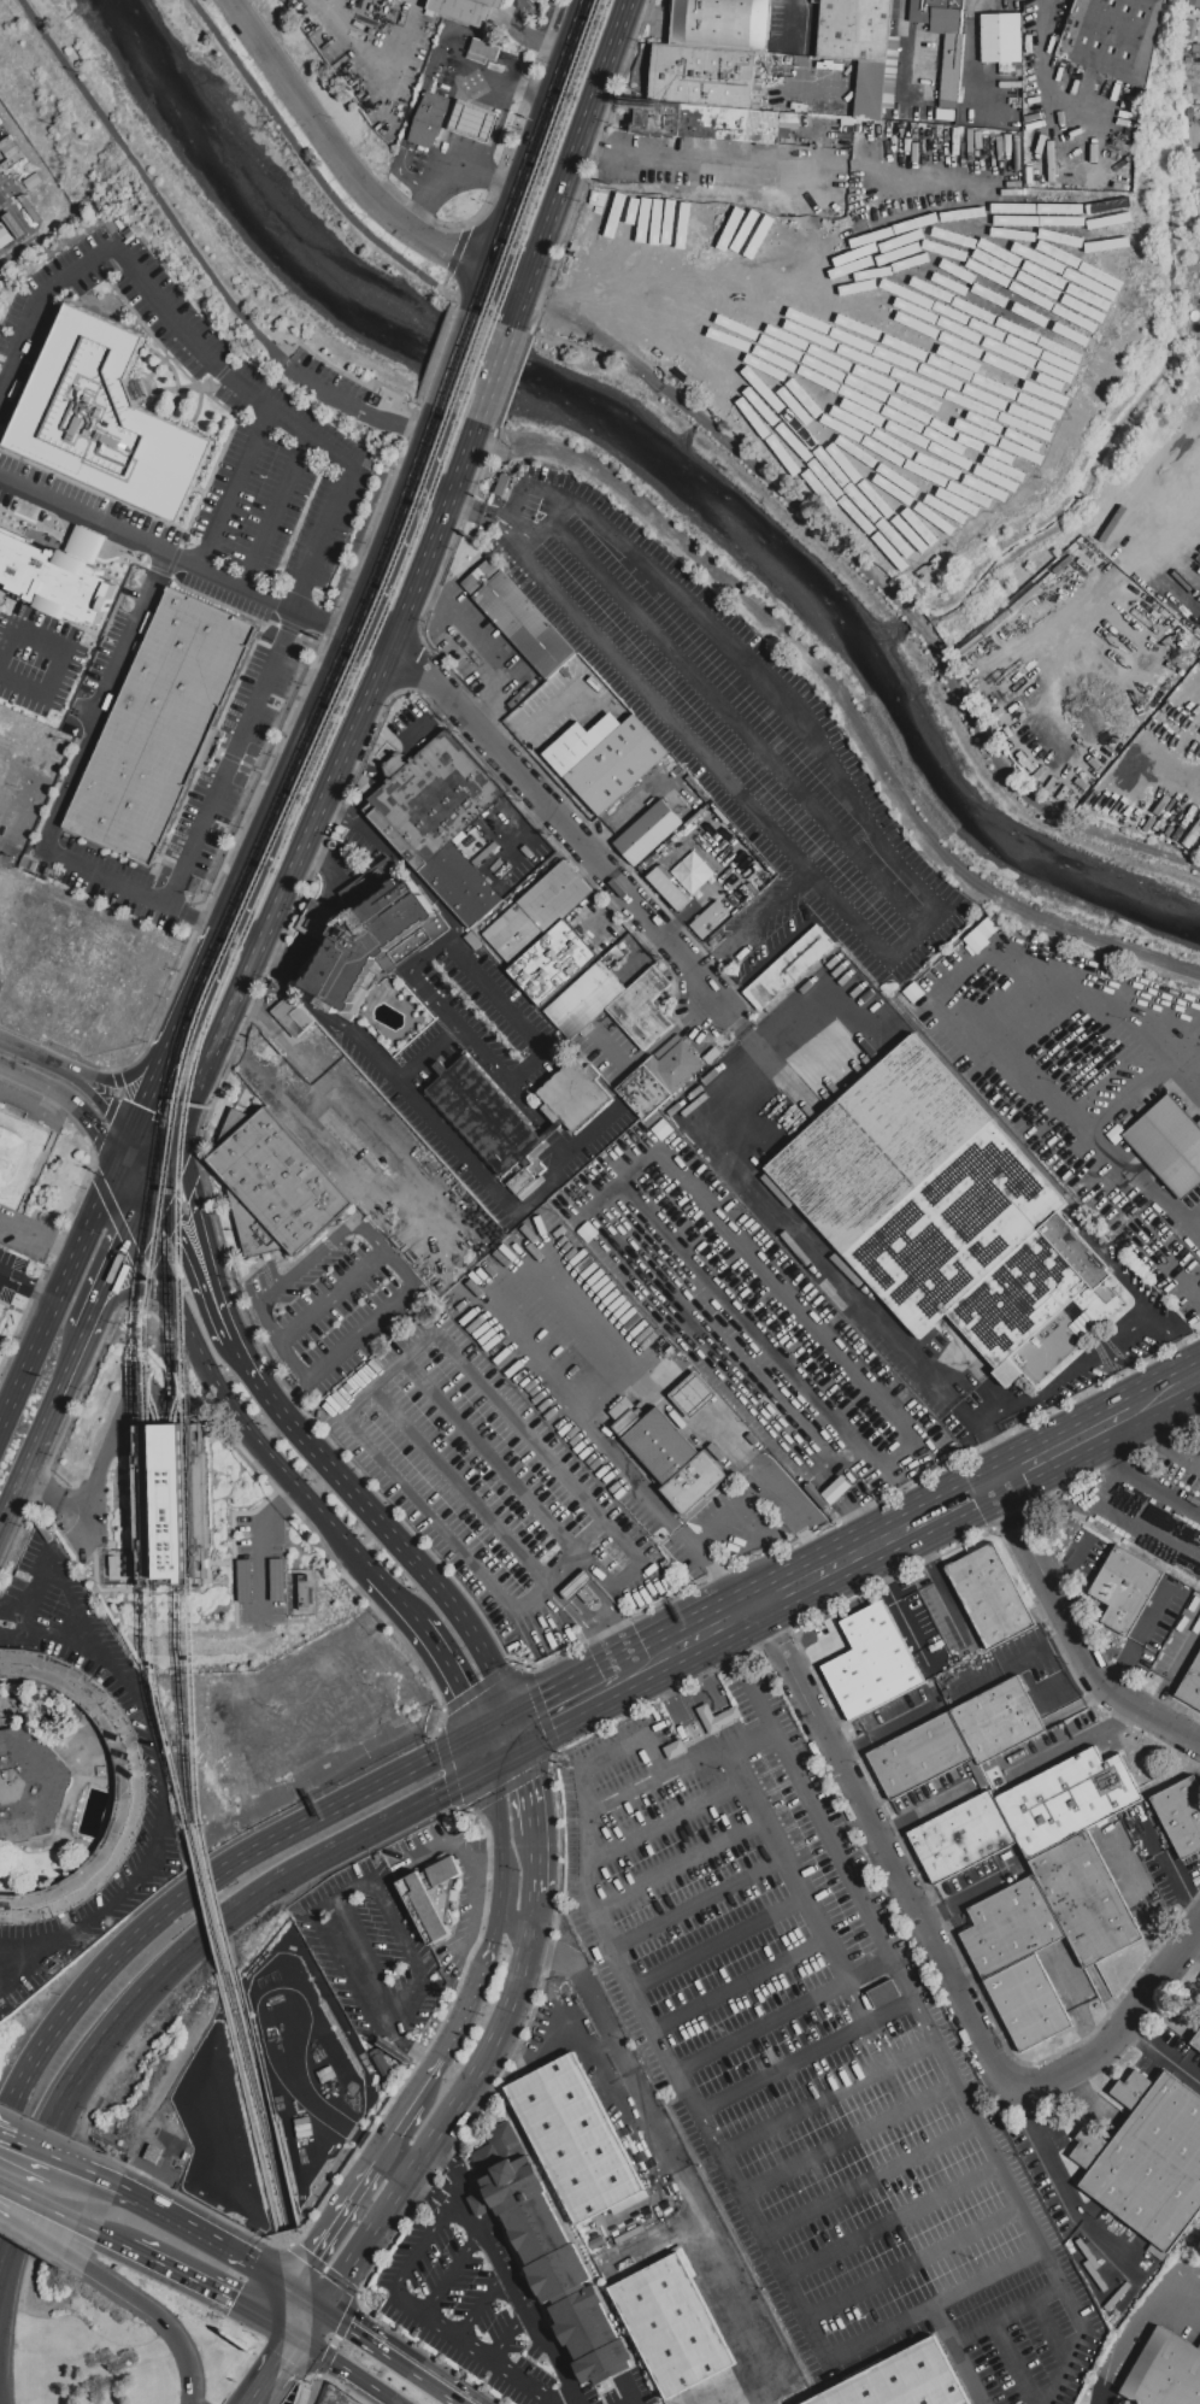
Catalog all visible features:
building: (493, 2)
building: (463, 11)
building: (722, 24)
building: (1190, 30)
road: (530, 35)
building: (1113, 36)
building: (1002, 41)
building: (859, 46)
building: (949, 49)
building: (483, 51)
road: (799, 64)
road: (510, 69)
building: (704, 76)
road: (487, 83)
road: (553, 96)
road: (1043, 96)
road: (530, 98)
building: (948, 105)
road: (417, 106)
building: (946, 113)
building: (655, 116)
building: (430, 119)
building: (792, 121)
building: (475, 122)
building: (730, 123)
road: (581, 145)
road: (339, 158)
road: (459, 158)
road: (706, 158)
building: (1196, 158)
road: (317, 172)
road: (471, 176)
road: (152, 183)
building: (1196, 187)
road: (416, 211)
road: (504, 235)
building: (4, 236)
road: (448, 274)
road: (508, 283)
road: (481, 294)
road: (522, 310)
road: (249, 342)
road: (458, 360)
road: (498, 376)
parking lot: (341, 393)
road: (353, 410)
building: (106, 419)
road: (428, 476)
road: (417, 481)
road: (234, 489)
road: (482, 510)
road: (277, 513)
road: (520, 531)
road: (440, 534)
parking lot: (181, 556)
building: (54, 578)
road: (373, 589)
road: (263, 594)
road: (1092, 600)
building: (518, 618)
road: (377, 636)
road: (59, 659)
parking lot: (730, 723)
building: (163, 727)
building: (578, 743)
road: (234, 746)
road: (1158, 748)
road: (702, 756)
building: (616, 765)
road: (292, 780)
building: (431, 799)
road: (14, 801)
parking lot: (20, 801)
road: (559, 821)
road: (18, 831)
building: (648, 833)
road: (520, 837)
road: (5, 846)
road: (323, 871)
road: (292, 877)
building: (461, 884)
building: (667, 888)
road: (925, 895)
road: (0, 900)
road: (772, 906)
building: (537, 912)
road: (317, 919)
building: (318, 919)
building: (711, 919)
building: (373, 942)
road: (292, 954)
railway: (239, 956)
road: (1, 959)
railway: (225, 959)
road: (1, 963)
building: (552, 963)
building: (789, 968)
road: (949, 977)
road: (204, 981)
building: (586, 999)
road: (442, 1007)
building: (642, 1009)
building: (292, 1016)
road: (735, 1025)
road: (534, 1038)
parking lot: (1064, 1058)
road: (1080, 1060)
building: (660, 1078)
road: (76, 1080)
road: (127, 1082)
road: (157, 1087)
building: (573, 1094)
road: (73, 1104)
road: (1122, 1105)
building: (483, 1115)
building: (1169, 1144)
road: (173, 1150)
building: (22, 1159)
road: (740, 1163)
road: (143, 1166)
building: (520, 1182)
building: (275, 1185)
building: (531, 1188)
road: (149, 1204)
road: (505, 1205)
road: (1175, 1206)
building: (939, 1207)
road: (1195, 1219)
road: (41, 1239)
road: (214, 1256)
road: (383, 1256)
road: (1166, 1260)
road: (190, 1263)
road: (306, 1264)
road: (117, 1276)
road: (6, 1280)
parking lot: (16, 1280)
road: (131, 1287)
road: (65, 1293)
road: (36, 1294)
road: (1096, 1353)
road: (775, 1357)
road: (241, 1370)
road: (1178, 1381)
road: (66, 1389)
road: (293, 1394)
building: (692, 1397)
building: (622, 1409)
road: (240, 1416)
road: (463, 1427)
road: (1076, 1435)
road: (1171, 1439)
road: (993, 1444)
road: (1113, 1447)
road: (835, 1456)
parking lot: (1178, 1457)
building: (671, 1458)
railway: (163, 1481)
railway: (177, 1481)
road: (460, 1486)
building: (835, 1489)
road: (20, 1493)
road: (1104, 1493)
road: (288, 1498)
railway: (146, 1503)
building: (171, 1503)
railway: (195, 1503)
road: (849, 1505)
road: (422, 1506)
road: (864, 1546)
road: (408, 1551)
road: (259, 1562)
building: (120, 1567)
road: (58, 1575)
road: (941, 1580)
road: (589, 1586)
building: (300, 1591)
building: (1122, 1591)
road: (889, 1594)
building: (992, 1595)
road: (575, 1599)
road: (1075, 1630)
road: (683, 1641)
road: (618, 1644)
road: (816, 1651)
road: (1017, 1662)
building: (872, 1663)
road: (460, 1680)
building: (1190, 1685)
road: (575, 1699)
road: (760, 1700)
road: (675, 1710)
building: (717, 1716)
building: (1000, 1718)
traffic signals: (518, 1729)
road: (884, 1730)
road: (520, 1736)
road: (502, 1738)
road: (737, 1741)
traffic signals: (487, 1746)
road: (1071, 1747)
building: (675, 1750)
building: (920, 1756)
road: (471, 1765)
building: (29, 1787)
road: (534, 1788)
building: (133, 1791)
road: (163, 1791)
road: (587, 1795)
building: (1070, 1798)
road: (925, 1809)
road: (682, 1812)
building: (1182, 1814)
road: (501, 1838)
building: (961, 1838)
road: (449, 1844)
road: (340, 1848)
road: (540, 1863)
road: (680, 1867)
road: (796, 1880)
road: (201, 1887)
road: (1183, 1888)
building: (433, 1897)
building: (1087, 1899)
road: (699, 1902)
road: (327, 1906)
road: (472, 1921)
building: (1011, 1927)
road: (514, 1929)
road: (720, 1946)
road: (369, 1958)
road: (941, 1958)
parking lot: (371, 1959)
road: (869, 1969)
road: (739, 1982)
building: (883, 1993)
road: (473, 1999)
building: (1029, 2004)
road: (761, 2026)
road: (576, 2027)
building: (1196, 2040)
parking lot: (808, 2049)
road: (1161, 2051)
road: (805, 2056)
road: (946, 2064)
road: (87, 2069)
road: (431, 2083)
road: (304, 2092)
road: (825, 2097)
railway: (263, 2099)
railway: (252, 2103)
road: (455, 2110)
road: (404, 2128)
road: (6, 2136)
road: (847, 2138)
building: (575, 2139)
road: (667, 2146)
road: (36, 2151)
building: (1148, 2158)
road: (381, 2159)
road: (396, 2170)
road: (458, 2170)
road: (1055, 2174)
road: (92, 2176)
road: (869, 2180)
road: (469, 2186)
road: (434, 2194)
road: (740, 2194)
road: (424, 2197)
road: (453, 2203)
road: (478, 2203)
road: (52, 2210)
road: (487, 2222)
road: (890, 2222)
road: (188, 2227)
road: (334, 2228)
road: (655, 2232)
road: (45, 2235)
road: (117, 2241)
building: (549, 2250)
road: (911, 2263)
road: (407, 2267)
road: (453, 2271)
road: (275, 2275)
road: (987, 2276)
road: (201, 2282)
traffic signals: (295, 2287)
road: (518, 2296)
road: (311, 2297)
road: (355, 2297)
parking lot: (459, 2303)
road: (481, 2303)
road: (283, 2304)
traffic signals: (328, 2308)
road: (1007, 2315)
road: (166, 2320)
road: (1136, 2321)
road: (314, 2323)
road: (287, 2330)
road: (507, 2333)
building: (680, 2335)
road: (1051, 2335)
airport: (120, 2339)
traffic signals: (302, 2340)
road: (396, 2356)
road: (489, 2357)
road: (1018, 2362)
building: (1164, 2370)
road: (280, 2371)
road: (348, 2371)
road: (1, 2380)
building: (901, 2380)
road: (306, 2385)
road: (778, 2387)
road: (565, 2397)
road: (575, 2397)

